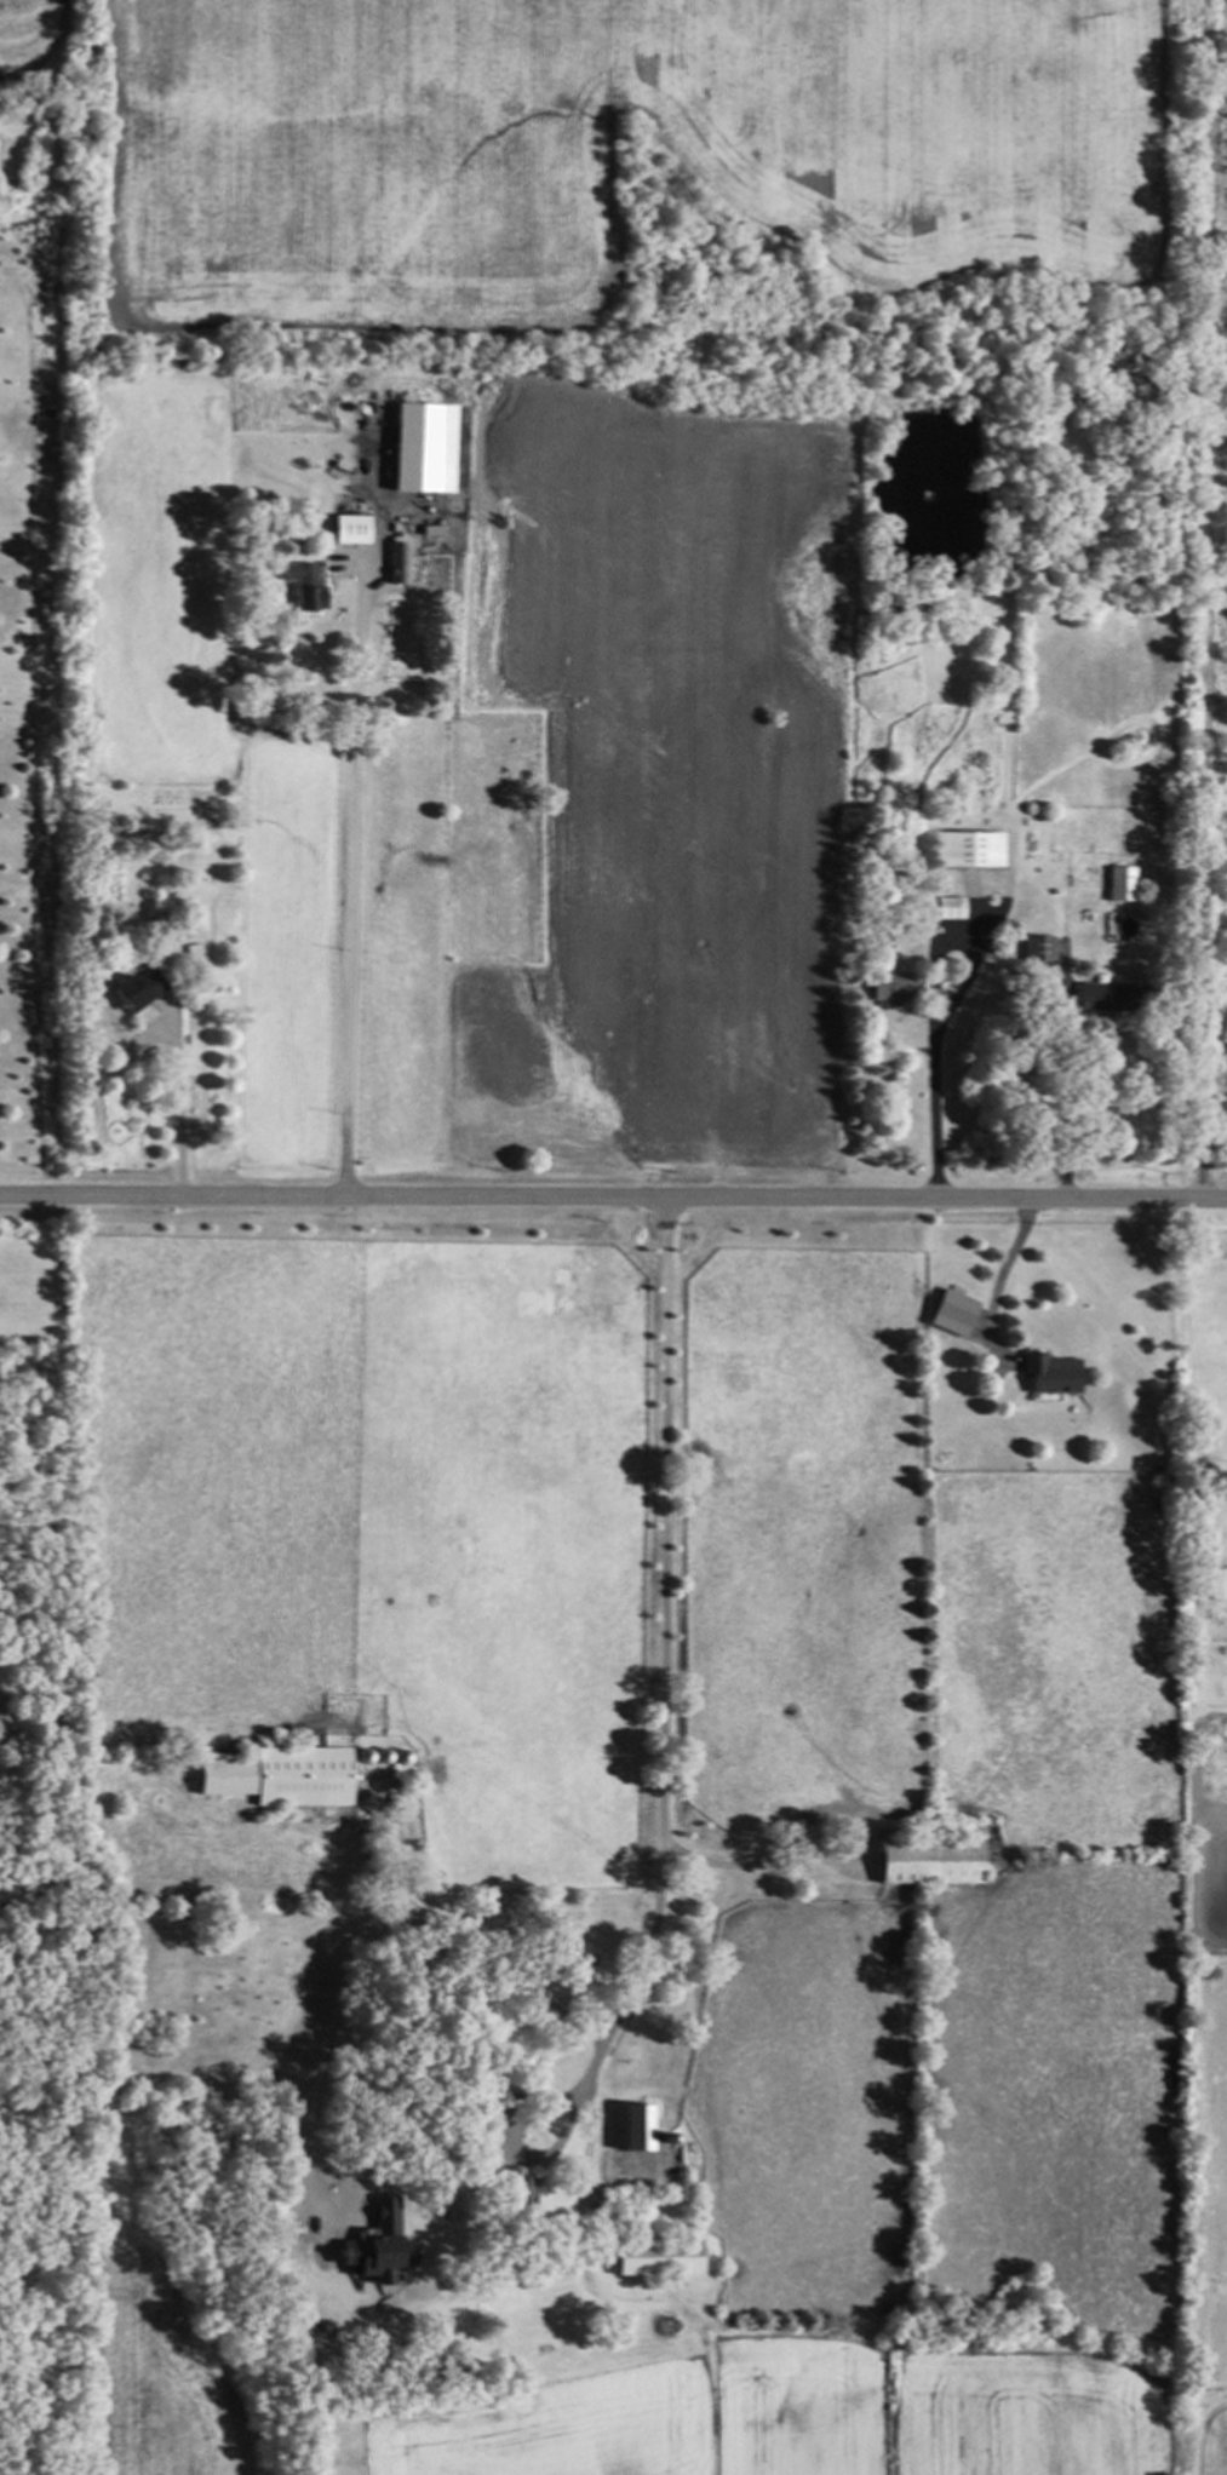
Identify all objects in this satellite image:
building: (422, 449)
building: (349, 529)
building: (399, 561)
building: (303, 585)
building: (968, 849)
road: (355, 883)
building: (1119, 883)
building: (948, 907)
building: (1037, 947)
building: (889, 987)
building: (134, 989)
building: (1102, 997)
road: (938, 1086)
road: (1068, 1096)
road: (179, 1112)
road: (613, 1200)
road: (1007, 1276)
building: (952, 1307)
building: (1049, 1373)
building: (280, 1775)
building: (929, 1862)
road: (658, 1900)
road: (591, 2107)
building: (633, 2129)
road: (511, 2141)
building: (526, 2190)
building: (369, 2244)
building: (656, 2259)

